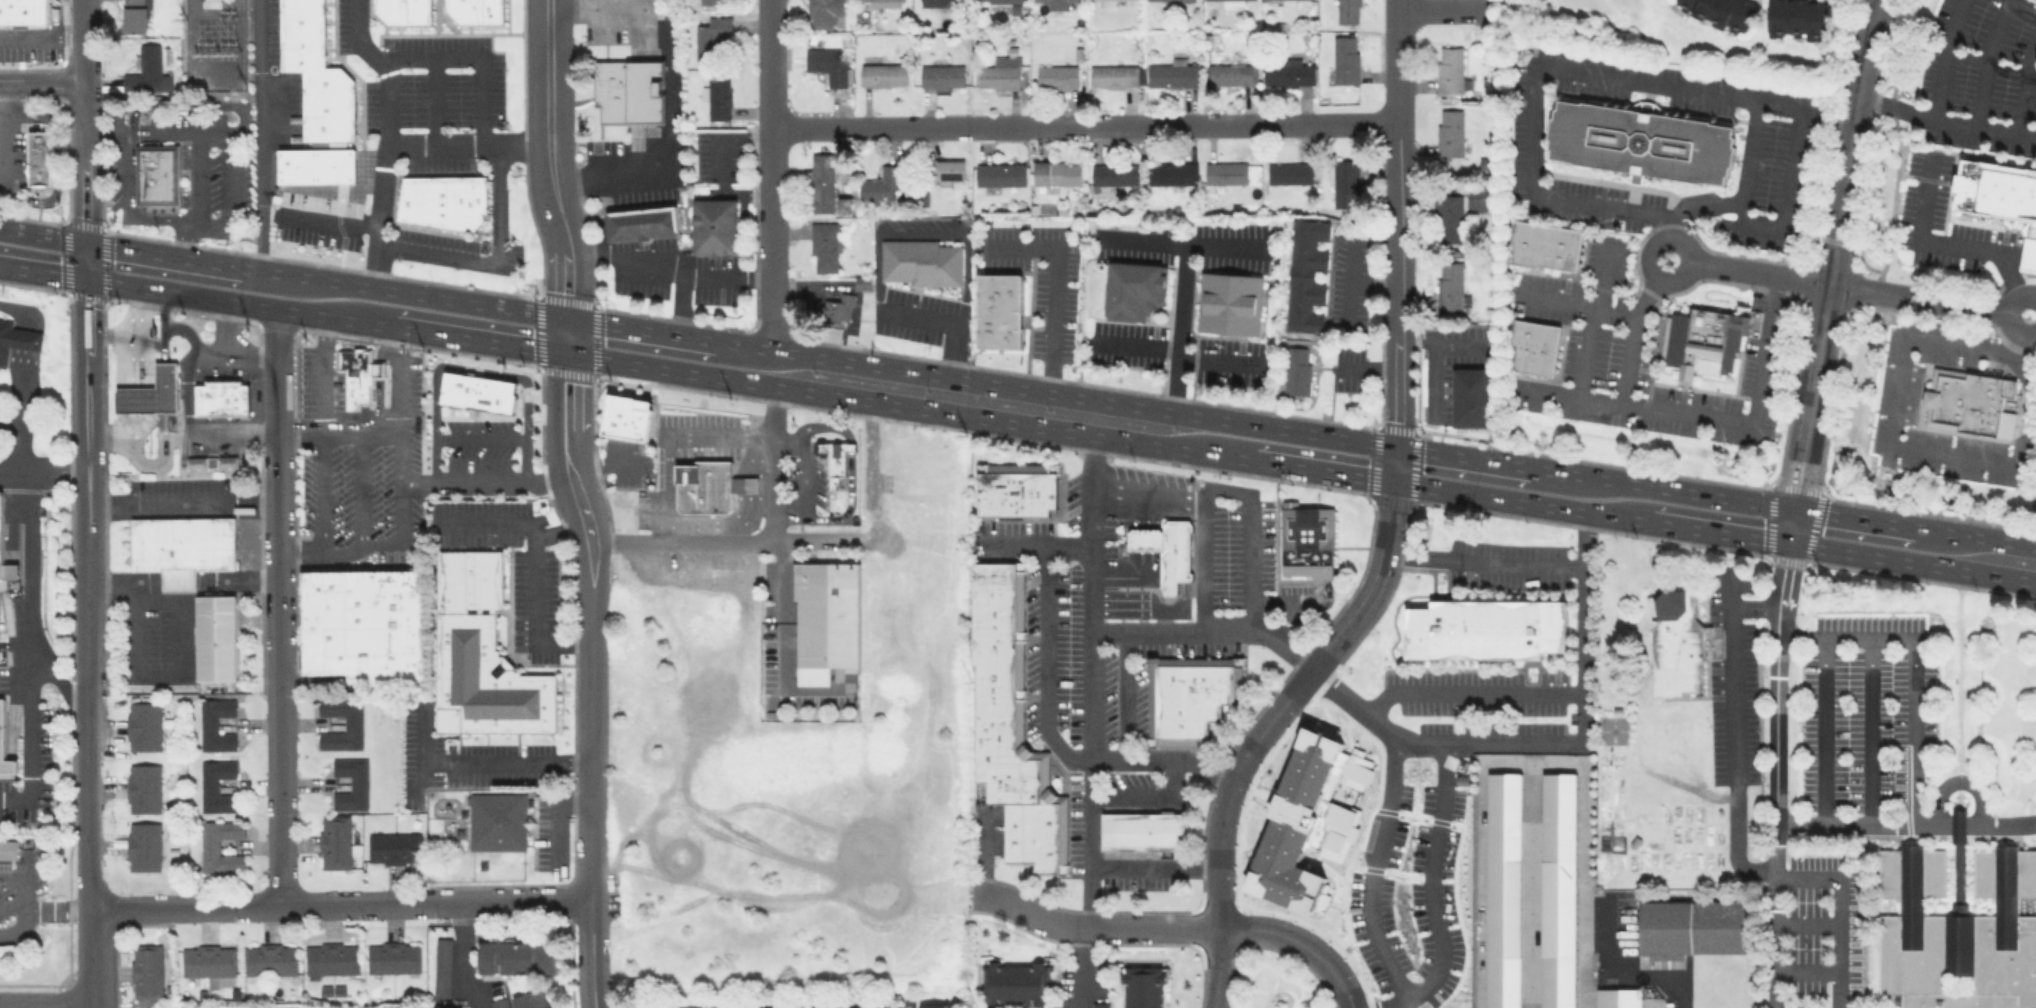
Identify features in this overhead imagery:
building: (1170, 0)
building: (1263, 0)
building: (998, 1)
building: (709, 2)
building: (884, 2)
building: (1224, 2)
building: (210, 3)
building: (1051, 3)
building: (403, 10)
building: (475, 10)
building: (25, 11)
building: (1346, 11)
road: (1440, 11)
building: (1722, 12)
building: (824, 13)
building: (135, 16)
building: (1797, 18)
road: (42, 33)
building: (711, 38)
road: (84, 40)
power substation: (212, 45)
parking lot: (31, 52)
road: (475, 56)
building: (1345, 59)
road: (1946, 59)
road: (1986, 61)
road: (1396, 63)
building: (828, 65)
road: (768, 66)
building: (1450, 69)
building: (147, 71)
building: (1000, 71)
building: (1287, 72)
building: (315, 73)
building: (1231, 73)
building: (1113, 74)
building: (883, 75)
building: (1171, 75)
building: (942, 76)
building: (1056, 76)
road: (42, 81)
road: (2025, 88)
building: (628, 91)
road: (669, 91)
road: (1532, 94)
building: (718, 95)
road: (434, 100)
road: (183, 105)
road: (1945, 121)
road: (173, 129)
road: (1083, 129)
building: (1449, 132)
road: (261, 133)
road: (3, 137)
road: (385, 137)
building: (1640, 141)
road: (467, 144)
road: (1751, 150)
building: (39, 157)
parking lot: (10, 159)
road: (55, 159)
parking lot: (190, 160)
road: (720, 163)
building: (317, 164)
building: (946, 170)
road: (1, 172)
building: (1225, 172)
building: (1288, 172)
building: (999, 173)
building: (1057, 173)
building: (1171, 173)
building: (157, 174)
road: (199, 174)
road: (551, 176)
building: (1112, 176)
road: (1789, 176)
road: (1397, 178)
road: (86, 179)
building: (822, 182)
building: (1344, 182)
building: (881, 183)
road: (225, 194)
building: (2001, 197)
building: (443, 200)
road: (126, 205)
building: (843, 205)
road: (1702, 208)
road: (329, 217)
building: (1450, 217)
building: (641, 222)
building: (714, 225)
road: (43, 234)
road: (1918, 236)
road: (186, 237)
road: (770, 239)
traffic signals: (87, 241)
road: (877, 242)
fountain: (485, 244)
building: (1544, 245)
road: (1687, 245)
building: (823, 246)
road: (1224, 247)
road: (163, 253)
road: (2028, 255)
road: (491, 258)
building: (920, 262)
road: (665, 263)
road: (2006, 263)
road: (44, 270)
road: (1829, 270)
road: (1396, 274)
building: (1305, 275)
traffic signals: (88, 277)
road: (1350, 279)
building: (861, 281)
road: (1056, 282)
road: (1373, 283)
road: (1848, 286)
building: (1451, 287)
building: (1133, 288)
road: (402, 289)
road: (1185, 289)
road: (238, 301)
road: (681, 301)
building: (1228, 302)
road: (1574, 302)
building: (837, 308)
building: (998, 310)
road: (18, 311)
road: (2005, 314)
traffic signals: (565, 315)
road: (1594, 315)
road: (163, 324)
road: (225, 326)
road: (640, 326)
road: (109, 334)
road: (130, 335)
road: (1631, 336)
road: (148, 337)
road: (478, 337)
building: (15, 339)
road: (26, 339)
building: (1701, 340)
road: (382, 342)
road: (1142, 345)
road: (1458, 345)
building: (1534, 345)
traffic signals: (566, 351)
road: (208, 353)
road: (1218, 361)
road: (1433, 361)
road: (473, 368)
road: (1367, 368)
road: (379, 369)
building: (1295, 370)
building: (357, 374)
road: (22, 383)
road: (163, 385)
road: (1055, 391)
building: (151, 392)
road: (185, 392)
building: (477, 392)
building: (1471, 396)
road: (131, 399)
building: (221, 399)
road: (1396, 399)
road: (325, 400)
building: (1968, 402)
road: (910, 406)
road: (1707, 414)
building: (627, 416)
road: (368, 418)
road: (401, 418)
road: (9, 419)
road: (667, 434)
road: (787, 434)
road: (110, 435)
road: (479, 435)
road: (220, 438)
traffic signals: (1396, 445)
road: (1895, 447)
road: (1462, 455)
road: (524, 456)
road: (435, 457)
building: (834, 457)
building: (228, 460)
building: (195, 461)
building: (212, 461)
road: (602, 463)
road: (44, 464)
road: (148, 464)
road: (567, 467)
road: (848, 469)
road: (1324, 469)
road: (803, 476)
road: (463, 477)
road: (547, 477)
traffic signals: (1394, 480)
building: (708, 486)
road: (1660, 486)
building: (1015, 489)
road: (1238, 491)
road: (277, 497)
road: (1520, 500)
road: (157, 504)
traffic signals: (1793, 506)
road: (1148, 510)
road: (1853, 515)
road: (787, 519)
road: (876, 519)
road: (557, 528)
road: (1717, 531)
road: (1975, 534)
building: (2, 537)
road: (680, 539)
building: (1144, 539)
building: (1307, 540)
traffic signals: (1787, 542)
road: (382, 545)
road: (1038, 545)
building: (182, 547)
road: (322, 552)
building: (1174, 554)
road: (535, 558)
road: (1204, 558)
road: (1481, 560)
road: (1911, 561)
road: (780, 572)
road: (29, 573)
building: (7, 574)
road: (1371, 582)
road: (90, 592)
road: (1754, 606)
building: (825, 618)
building: (362, 624)
building: (1485, 628)
building: (215, 637)
building: (1675, 643)
building: (482, 653)
road: (1046, 665)
road: (1911, 667)
road: (157, 676)
parking lot: (1732, 676)
road: (1091, 680)
road: (1470, 691)
road: (1127, 693)
building: (1188, 695)
parking lot: (1865, 710)
road: (29, 722)
building: (352, 722)
building: (1010, 722)
building: (215, 723)
building: (143, 725)
road: (1825, 732)
road: (1869, 733)
road: (1731, 735)
road: (590, 741)
road: (1433, 743)
parking lot: (26, 744)
building: (5, 746)
road: (1163, 757)
road: (1532, 761)
road: (478, 763)
road: (1777, 774)
road: (1958, 781)
building: (351, 783)
building: (216, 785)
road: (1230, 785)
building: (143, 787)
road: (1151, 796)
road: (280, 797)
road: (557, 818)
building: (1308, 819)
building: (497, 820)
road: (2000, 826)
road: (1864, 827)
road: (1958, 827)
building: (1141, 830)
building: (333, 841)
building: (144, 846)
building: (210, 846)
building: (393, 847)
building: (9, 850)
road: (983, 853)
road: (1154, 866)
road: (1371, 868)
road: (25, 869)
road: (1532, 884)
building: (1558, 889)
building: (1503, 890)
road: (1431, 891)
road: (717, 902)
road: (507, 903)
road: (259, 906)
road: (39, 908)
road: (1839, 911)
road: (1807, 922)
building: (1692, 925)
building: (1957, 927)
road: (1094, 928)
parking lot: (1823, 932)
road: (1300, 944)
parking lot: (839, 945)
building: (6, 953)
road: (92, 955)
road: (590, 955)
building: (516, 956)
building: (393, 957)
road: (464, 957)
building: (330, 958)
building: (207, 959)
building: (270, 959)
building: (442, 966)
road: (1082, 968)
road: (1219, 968)
building: (146, 971)
road: (1807, 971)
road: (1627, 974)
building: (1016, 982)
road: (750, 985)
building: (1142, 986)
building: (1617, 998)
building: (534, 999)
road: (1650, 1001)
building: (499, 1002)
road: (46, 1004)
road: (92, 1005)
building: (935, 1005)
building: (1100, 1005)
building: (850, 1006)
building: (446, 1007)
building: (675, 1007)
building: (766, 1007)
building: (897, 1007)

